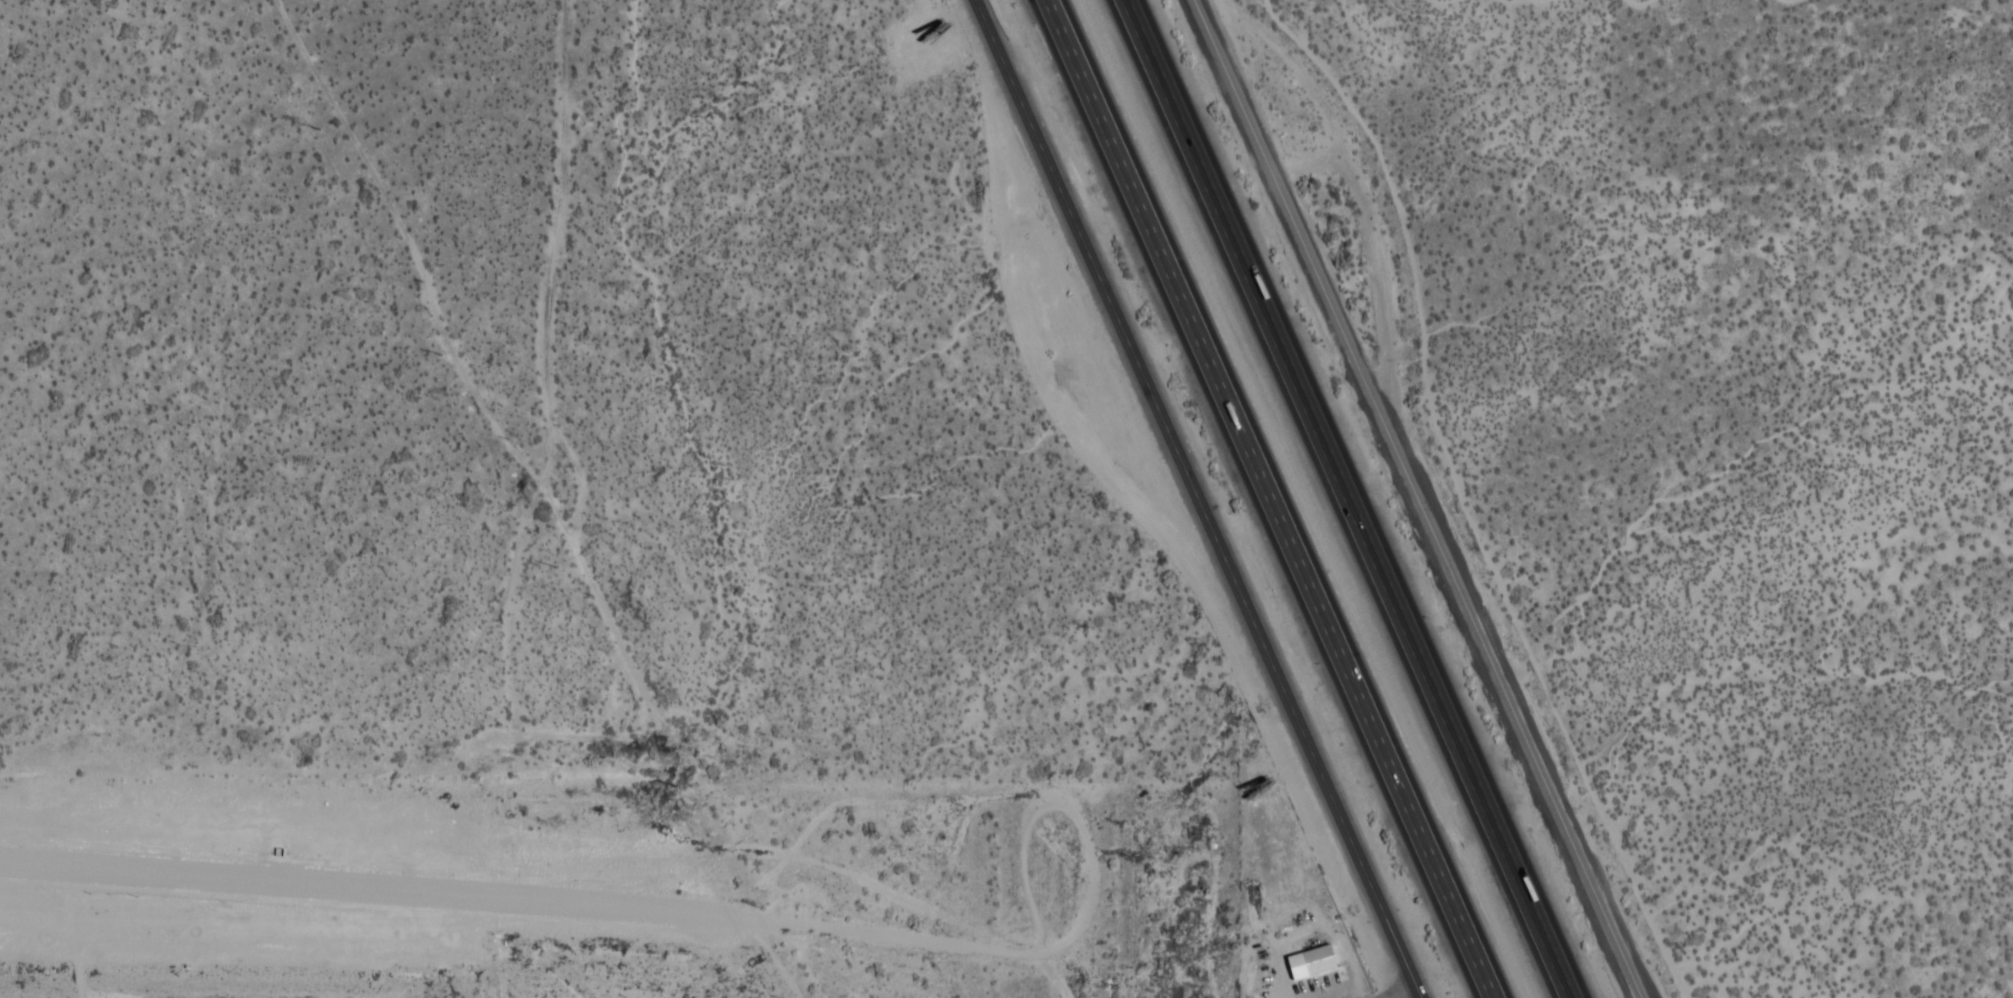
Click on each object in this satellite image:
road: (575, 392)
road: (1199, 499)
road: (1268, 499)
road: (1345, 499)
road: (1419, 499)
road: (74, 976)
road: (1397, 990)

